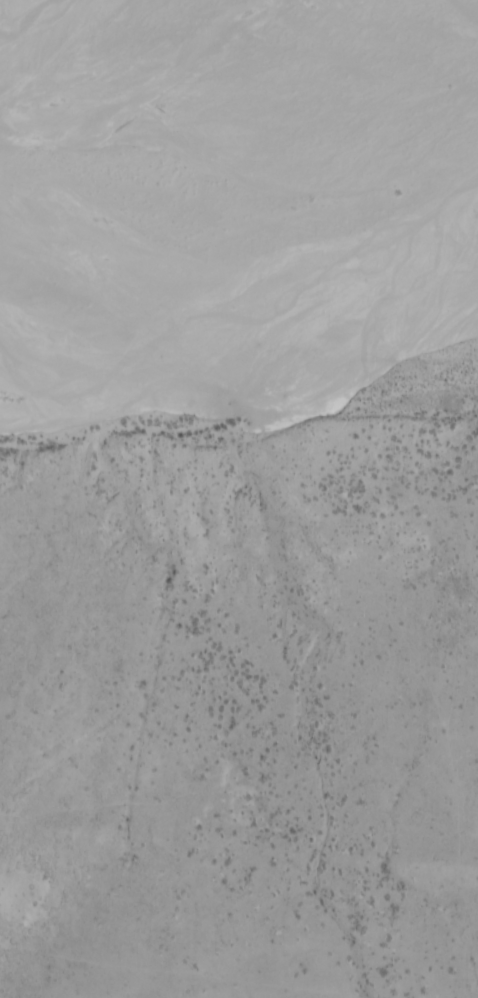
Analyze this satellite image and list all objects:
river: (221, 164)
river: (239, 301)

